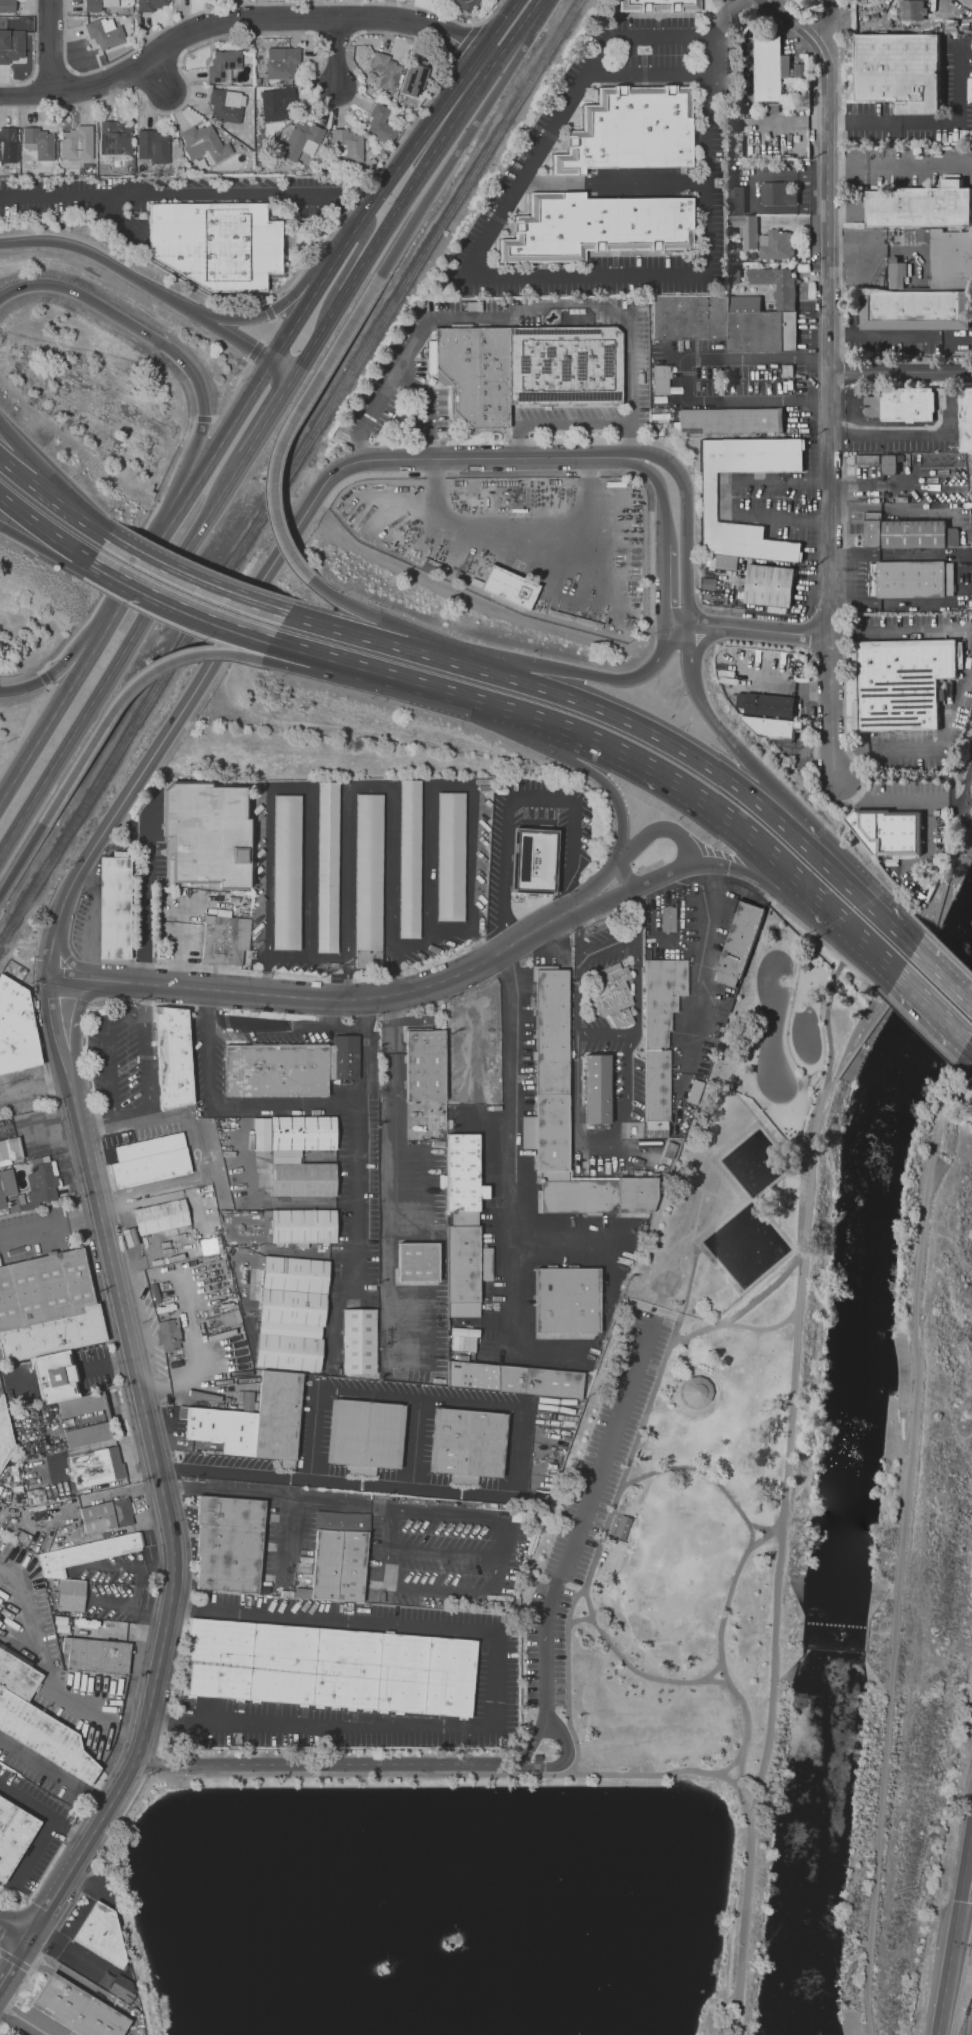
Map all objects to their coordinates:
building: (98, 5)
building: (149, 5)
building: (467, 5)
building: (8, 6)
building: (663, 6)
road: (777, 8)
building: (910, 10)
road: (529, 11)
road: (800, 11)
road: (491, 13)
road: (234, 19)
road: (724, 20)
road: (498, 27)
building: (105, 31)
road: (507, 43)
road: (461, 44)
building: (10, 45)
road: (52, 48)
road: (337, 56)
road: (486, 59)
building: (282, 61)
building: (224, 64)
building: (772, 69)
building: (897, 69)
building: (386, 71)
road: (650, 76)
road: (162, 79)
building: (414, 79)
road: (751, 99)
building: (228, 104)
building: (279, 107)
road: (929, 122)
building: (382, 124)
building: (634, 132)
building: (114, 139)
building: (302, 141)
building: (40, 142)
building: (78, 143)
building: (349, 144)
building: (7, 146)
building: (153, 146)
building: (206, 146)
road: (457, 151)
road: (426, 166)
road: (901, 167)
road: (616, 183)
road: (362, 191)
building: (782, 196)
building: (741, 201)
road: (183, 202)
road: (371, 204)
building: (922, 208)
building: (601, 228)
building: (749, 230)
road: (361, 241)
building: (217, 244)
building: (779, 247)
road: (105, 262)
building: (896, 275)
road: (514, 276)
road: (351, 280)
building: (775, 285)
building: (927, 291)
road: (268, 312)
road: (504, 312)
road: (264, 314)
road: (830, 315)
building: (720, 324)
road: (267, 330)
road: (319, 333)
road: (882, 335)
road: (236, 339)
road: (172, 350)
road: (254, 350)
road: (283, 368)
building: (525, 369)
road: (901, 373)
building: (660, 379)
road: (683, 381)
road: (234, 391)
road: (434, 406)
building: (903, 406)
road: (270, 415)
road: (202, 418)
building: (729, 421)
road: (289, 422)
road: (576, 423)
building: (963, 426)
road: (899, 434)
road: (13, 446)
road: (480, 458)
building: (866, 459)
road: (7, 463)
railway: (280, 463)
building: (890, 463)
railway: (285, 468)
railway: (289, 473)
road: (23, 476)
road: (660, 488)
road: (193, 489)
road: (886, 489)
building: (706, 497)
road: (724, 497)
road: (69, 510)
road: (685, 512)
road: (518, 526)
road: (44, 529)
building: (909, 538)
road: (44, 551)
road: (130, 553)
road: (117, 575)
building: (910, 577)
road: (193, 581)
road: (662, 582)
building: (767, 586)
building: (512, 588)
road: (356, 607)
road: (205, 617)
road: (743, 627)
road: (339, 629)
road: (898, 631)
road: (304, 649)
road: (122, 653)
road: (444, 659)
road: (63, 667)
road: (299, 668)
road: (598, 677)
road: (43, 679)
road: (415, 683)
building: (900, 683)
building: (951, 692)
road: (121, 695)
building: (767, 705)
road: (56, 708)
road: (827, 712)
road: (522, 713)
road: (714, 720)
road: (558, 725)
road: (638, 725)
road: (26, 728)
building: (770, 729)
road: (931, 737)
road: (914, 777)
road: (967, 781)
road: (696, 793)
road: (524, 797)
road: (832, 797)
road: (616, 800)
road: (968, 800)
road: (967, 819)
building: (886, 834)
building: (202, 836)
road: (684, 839)
road: (802, 844)
road: (21, 858)
building: (453, 858)
building: (412, 859)
building: (529, 863)
building: (330, 866)
road: (876, 866)
building: (288, 872)
road: (747, 875)
building: (372, 883)
road: (143, 890)
building: (117, 909)
road: (634, 909)
road: (876, 914)
building: (667, 919)
road: (802, 926)
road: (852, 930)
road: (577, 931)
road: (90, 936)
road: (428, 938)
building: (226, 941)
road: (24, 942)
road: (606, 942)
road: (475, 944)
building: (738, 945)
road: (948, 952)
road: (305, 956)
road: (70, 961)
road: (396, 972)
road: (264, 975)
road: (863, 977)
road: (942, 977)
road: (345, 979)
road: (698, 991)
building: (609, 996)
road: (321, 1000)
road: (207, 1005)
road: (931, 1008)
road: (331, 1013)
road: (269, 1023)
road: (349, 1026)
park: (773, 1027)
building: (17, 1028)
road: (918, 1030)
road: (826, 1031)
park: (805, 1034)
road: (606, 1035)
road: (74, 1038)
building: (658, 1041)
road: (969, 1044)
road: (147, 1048)
road: (110, 1049)
building: (177, 1057)
road: (208, 1057)
building: (348, 1058)
building: (421, 1066)
building: (279, 1070)
road: (962, 1073)
building: (548, 1074)
road: (32, 1086)
building: (595, 1091)
road: (516, 1100)
road: (337, 1109)
road: (133, 1116)
road: (96, 1125)
road: (51, 1127)
building: (305, 1134)
road: (611, 1138)
building: (12, 1149)
building: (152, 1161)
road: (392, 1165)
building: (461, 1174)
road: (90, 1178)
road: (197, 1178)
building: (307, 1182)
building: (41, 1185)
building: (7, 1187)
building: (253, 1201)
road: (357, 1201)
building: (164, 1217)
road: (49, 1226)
building: (306, 1228)
road: (564, 1251)
building: (417, 1261)
building: (466, 1270)
road: (764, 1292)
building: (569, 1298)
road: (515, 1300)
building: (49, 1307)
building: (293, 1313)
building: (167, 1334)
building: (363, 1338)
road: (106, 1365)
building: (58, 1379)
building: (517, 1380)
road: (683, 1381)
building: (695, 1391)
road: (791, 1399)
building: (246, 1401)
building: (258, 1420)
building: (110, 1421)
building: (4, 1434)
road: (896, 1434)
building: (367, 1436)
road: (416, 1441)
building: (469, 1445)
road: (83, 1448)
building: (98, 1466)
road: (518, 1483)
road: (618, 1493)
road: (276, 1495)
road: (93, 1496)
parking lot: (591, 1500)
road: (588, 1505)
building: (109, 1515)
road: (486, 1518)
building: (621, 1526)
road: (760, 1527)
road: (751, 1532)
road: (766, 1533)
building: (229, 1544)
road: (389, 1544)
road: (902, 1550)
building: (87, 1552)
road: (445, 1553)
building: (340, 1556)
road: (124, 1565)
road: (438, 1588)
building: (73, 1594)
road: (127, 1607)
road: (580, 1620)
road: (115, 1631)
park: (658, 1645)
building: (98, 1655)
road: (624, 1660)
road: (49, 1667)
building: (331, 1669)
road: (715, 1681)
road: (494, 1687)
building: (43, 1720)
road: (545, 1721)
road: (557, 1722)
road: (747, 1722)
road: (566, 1741)
road: (328, 1765)
road: (731, 1765)
toll booth: (538, 1767)
road: (54, 1772)
road: (492, 1774)
road: (134, 1809)
road: (43, 1814)
building: (15, 1837)
road: (33, 1857)
road: (965, 1861)
traffic signals: (959, 1901)
road: (12, 1933)
building: (105, 1937)
road: (137, 1947)
road: (71, 1951)
road: (11, 1961)
road: (14, 1961)
road: (948, 1968)
building: (115, 1985)
building: (80, 2010)
road: (22, 2021)
building: (12, 2034)
building: (21, 2034)

